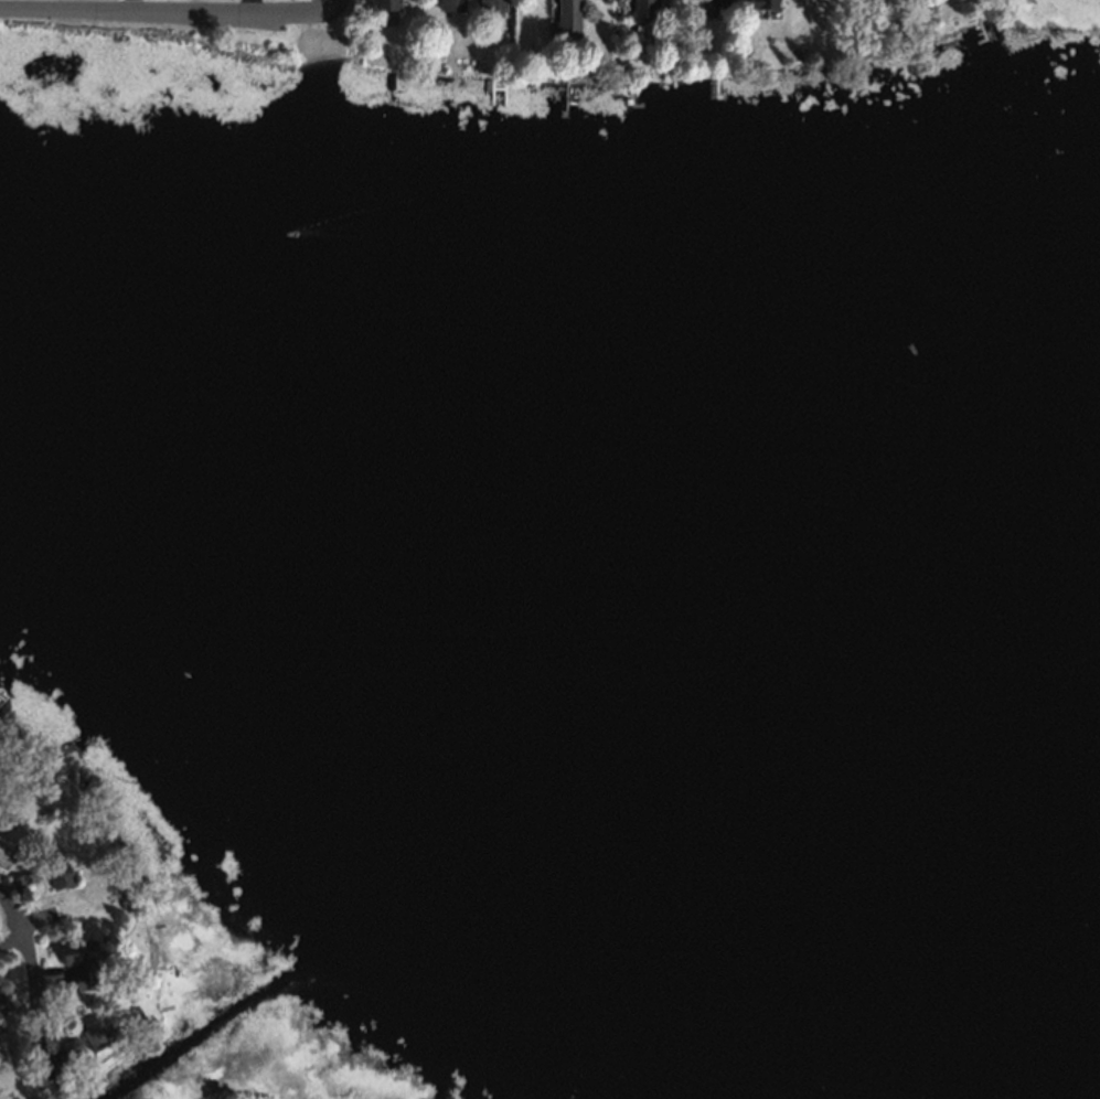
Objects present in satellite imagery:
building: (501, 0)
building: (722, 0)
building: (716, 2)
building: (382, 3)
building: (759, 3)
building: (448, 4)
building: (527, 6)
building: (640, 9)
road: (171, 14)
building: (564, 23)
building: (4, 850)
building: (55, 872)
building: (17, 878)
building: (125, 901)
building: (46, 914)
road: (9, 938)
road: (20, 939)
building: (78, 960)
building: (3, 1005)
building: (94, 1035)
building: (70, 1046)

